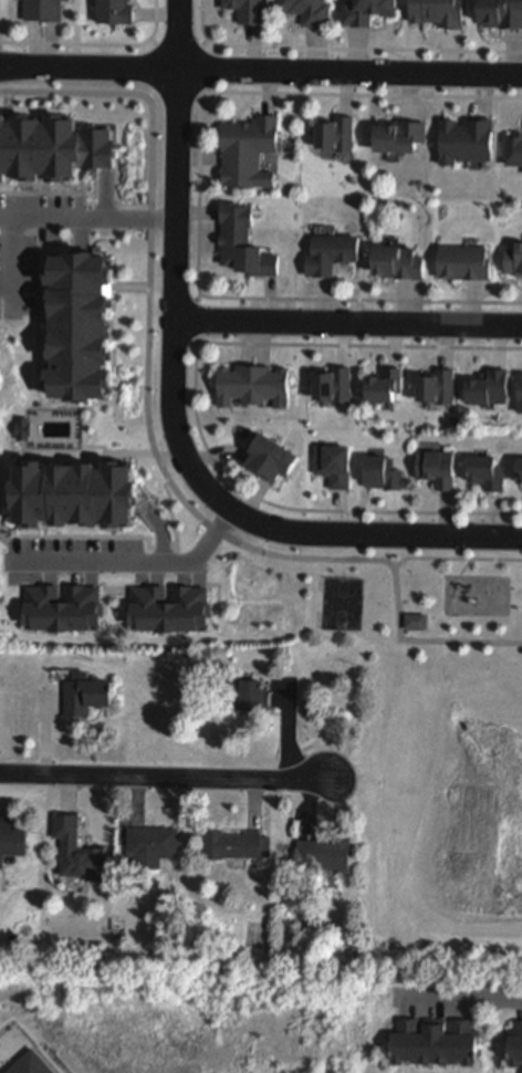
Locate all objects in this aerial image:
building: (40, 9)
building: (248, 9)
building: (307, 10)
building: (367, 10)
building: (113, 11)
building: (437, 11)
building: (500, 12)
road: (179, 34)
road: (95, 45)
road: (178, 48)
road: (341, 50)
road: (17, 65)
road: (17, 71)
road: (153, 71)
road: (200, 71)
road: (276, 71)
road: (176, 95)
building: (337, 134)
building: (401, 135)
building: (467, 139)
building: (51, 147)
building: (249, 150)
building: (513, 150)
road: (198, 200)
building: (72, 216)
road: (53, 217)
building: (18, 233)
building: (244, 242)
building: (331, 252)
building: (513, 259)
building: (399, 261)
building: (464, 261)
road: (194, 320)
road: (347, 324)
building: (77, 326)
building: (15, 375)
building: (250, 385)
building: (328, 386)
building: (380, 386)
building: (431, 386)
building: (486, 387)
building: (519, 393)
road: (195, 406)
road: (152, 442)
road: (180, 448)
building: (265, 458)
building: (330, 465)
building: (437, 468)
building: (519, 470)
building: (486, 472)
building: (378, 473)
building: (73, 493)
road: (455, 560)
road: (127, 561)
park: (343, 604)
building: (168, 606)
building: (61, 607)
building: (415, 621)
building: (244, 691)
building: (83, 695)
park: (431, 746)
road: (163, 779)
building: (11, 840)
building: (237, 843)
building: (152, 844)
building: (79, 851)
building: (326, 851)
road: (459, 1000)
building: (432, 1041)
building: (515, 1044)
building: (27, 1064)

